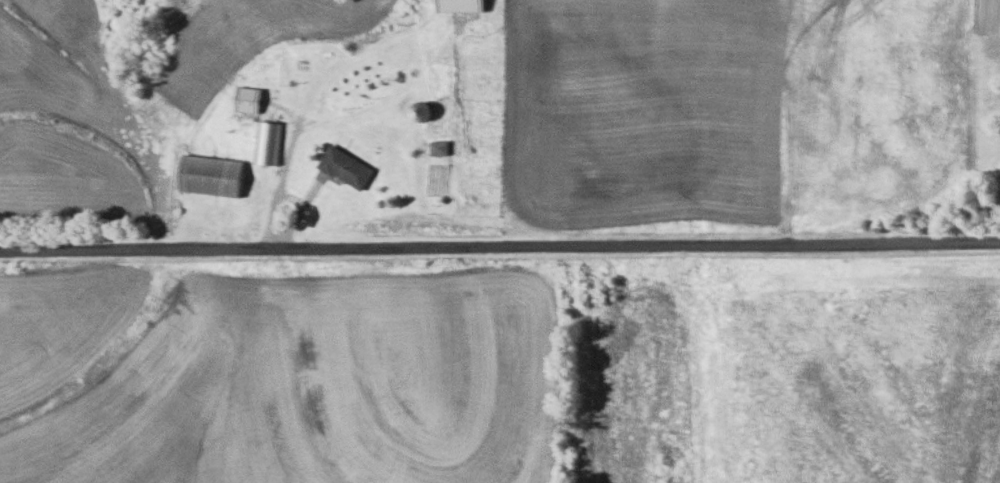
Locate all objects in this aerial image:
building: (457, 5)
road: (311, 90)
building: (244, 100)
building: (417, 113)
building: (265, 143)
building: (344, 168)
building: (208, 175)
road: (500, 248)

